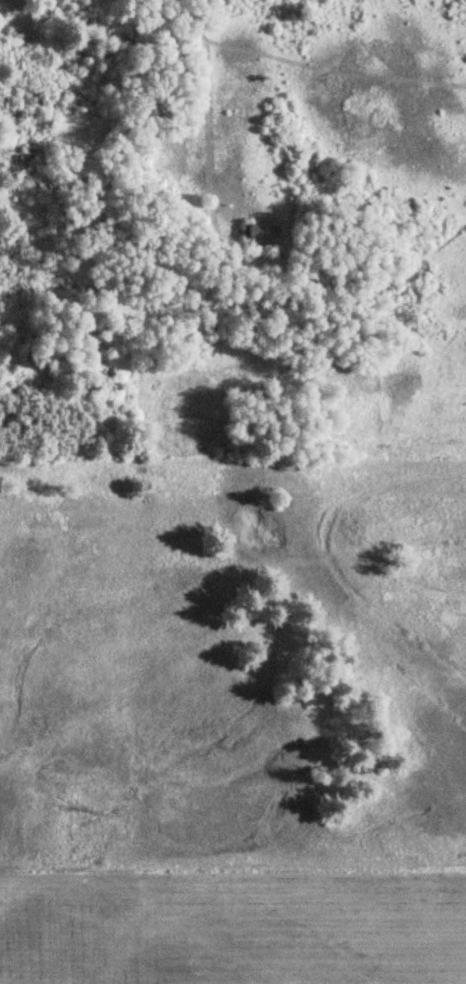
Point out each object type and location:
building: (257, 232)

